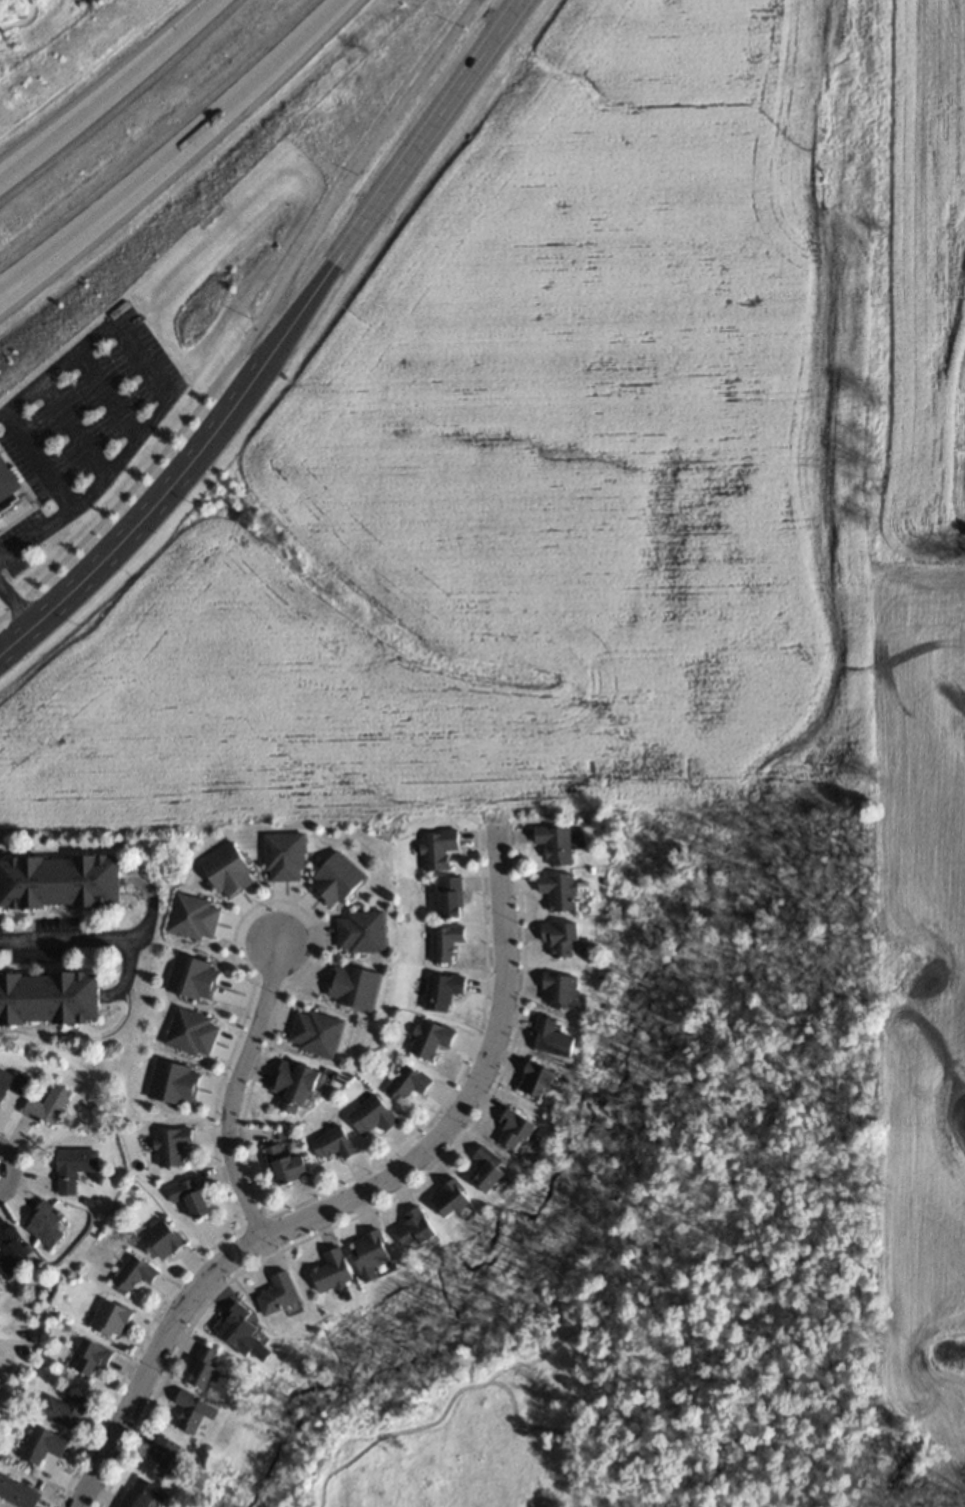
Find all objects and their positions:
road: (108, 93)
road: (175, 156)
road: (251, 320)
road: (106, 327)
road: (284, 343)
building: (6, 484)
building: (0, 528)
crop: (609, 529)
road: (36, 533)
road: (16, 605)
building: (554, 843)
building: (436, 849)
building: (283, 857)
building: (226, 871)
building: (58, 881)
building: (334, 881)
building: (557, 891)
building: (448, 897)
building: (192, 917)
building: (360, 932)
building: (559, 938)
road: (103, 939)
building: (443, 943)
road: (125, 974)
building: (191, 978)
building: (353, 987)
building: (558, 990)
building: (441, 991)
building: (48, 997)
building: (189, 1032)
building: (314, 1033)
building: (428, 1038)
building: (550, 1038)
building: (535, 1080)
building: (11, 1082)
building: (172, 1082)
building: (405, 1082)
building: (293, 1087)
road: (235, 1089)
building: (46, 1104)
building: (370, 1115)
building: (513, 1130)
building: (331, 1143)
building: (170, 1146)
building: (284, 1165)
road: (9, 1168)
building: (72, 1168)
building: (486, 1169)
road: (348, 1196)
building: (191, 1199)
building: (448, 1199)
building: (44, 1224)
building: (412, 1228)
park: (645, 1230)
building: (159, 1240)
building: (11, 1252)
building: (368, 1253)
building: (330, 1271)
building: (131, 1273)
building: (276, 1294)
building: (108, 1318)
building: (241, 1332)
building: (88, 1357)
building: (202, 1368)
building: (62, 1410)
building: (192, 1415)
building: (40, 1445)
building: (159, 1456)
building: (16, 1493)
building: (140, 1494)
park: (922, 1498)

